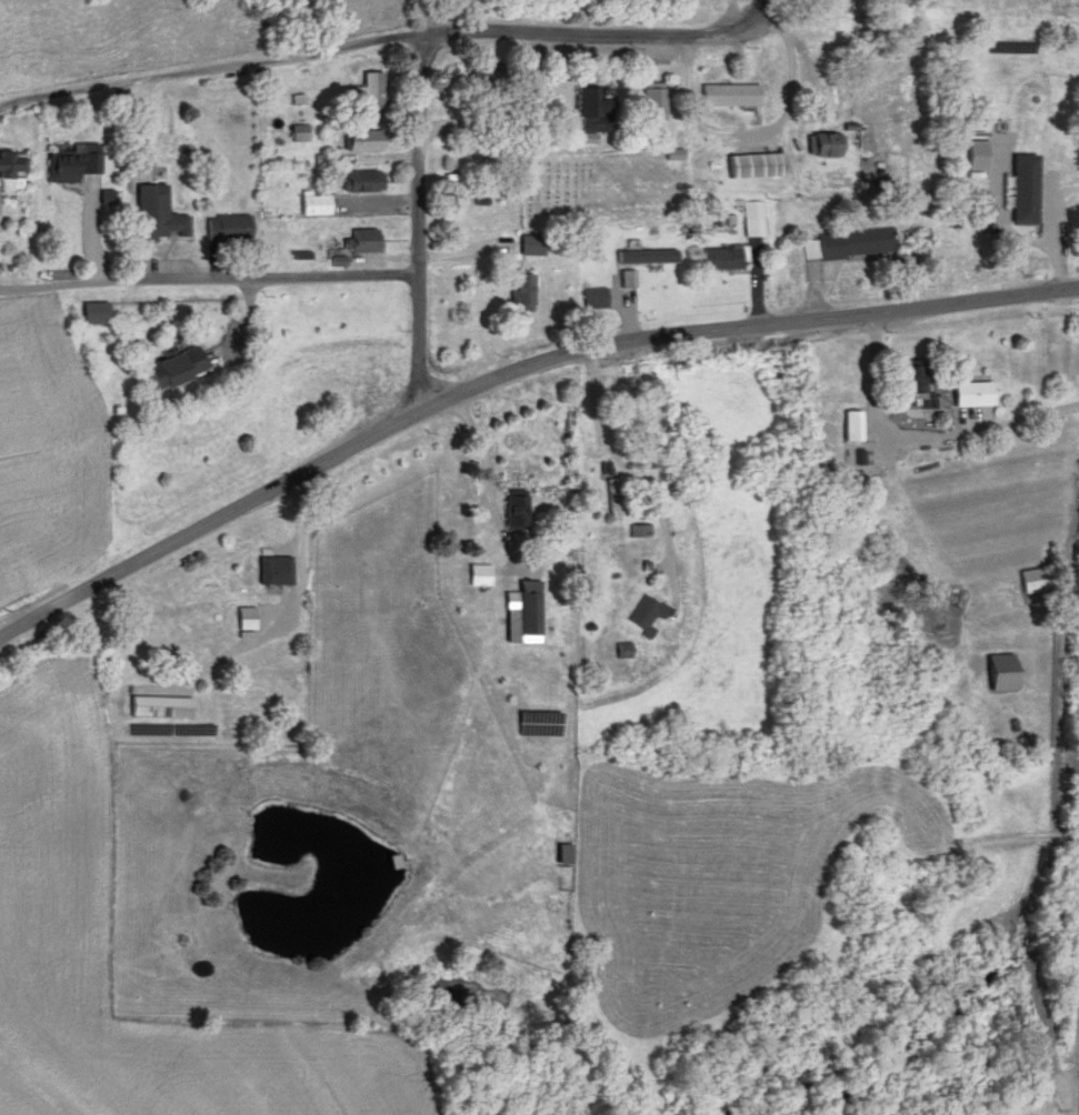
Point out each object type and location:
road: (978, 12)
road: (418, 19)
road: (748, 28)
road: (401, 38)
building: (481, 81)
building: (367, 92)
road: (43, 96)
building: (728, 96)
building: (809, 104)
building: (651, 107)
building: (592, 111)
building: (509, 118)
road: (777, 119)
building: (361, 141)
building: (822, 147)
building: (978, 155)
building: (73, 163)
building: (752, 167)
building: (12, 170)
building: (360, 181)
building: (1021, 189)
park: (588, 192)
building: (312, 205)
building: (159, 214)
building: (751, 219)
road: (417, 224)
building: (226, 228)
road: (1052, 228)
building: (361, 241)
building: (852, 243)
building: (529, 245)
road: (464, 252)
building: (646, 257)
building: (719, 259)
building: (628, 279)
road: (6, 287)
road: (214, 288)
building: (518, 293)
building: (97, 312)
building: (171, 371)
road: (506, 372)
building: (908, 381)
building: (969, 395)
building: (848, 426)
road: (929, 430)
road: (478, 446)
road: (618, 456)
building: (611, 501)
building: (513, 511)
building: (643, 531)
road: (300, 536)
building: (273, 571)
building: (478, 575)
building: (1035, 580)
building: (645, 614)
building: (523, 615)
building: (244, 619)
building: (997, 672)
building: (156, 706)

